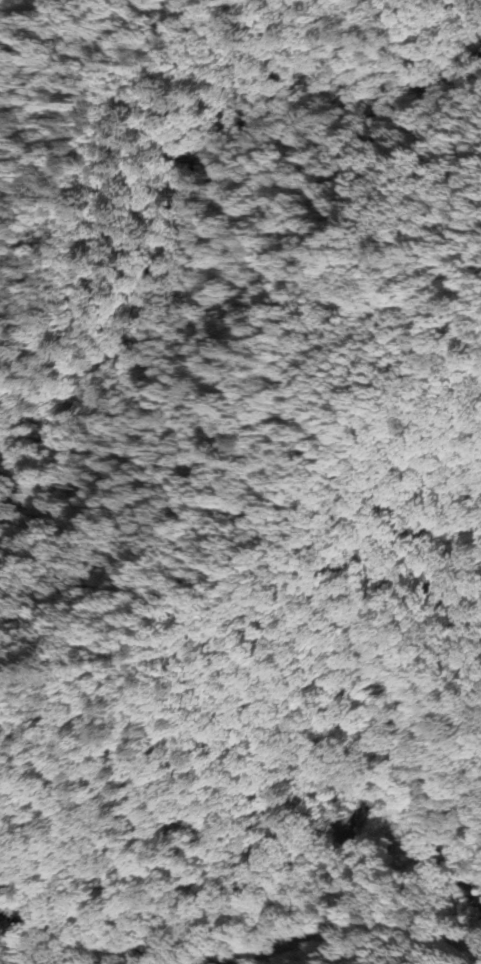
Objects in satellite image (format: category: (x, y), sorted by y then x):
river: (242, 912)
railway: (351, 927)

